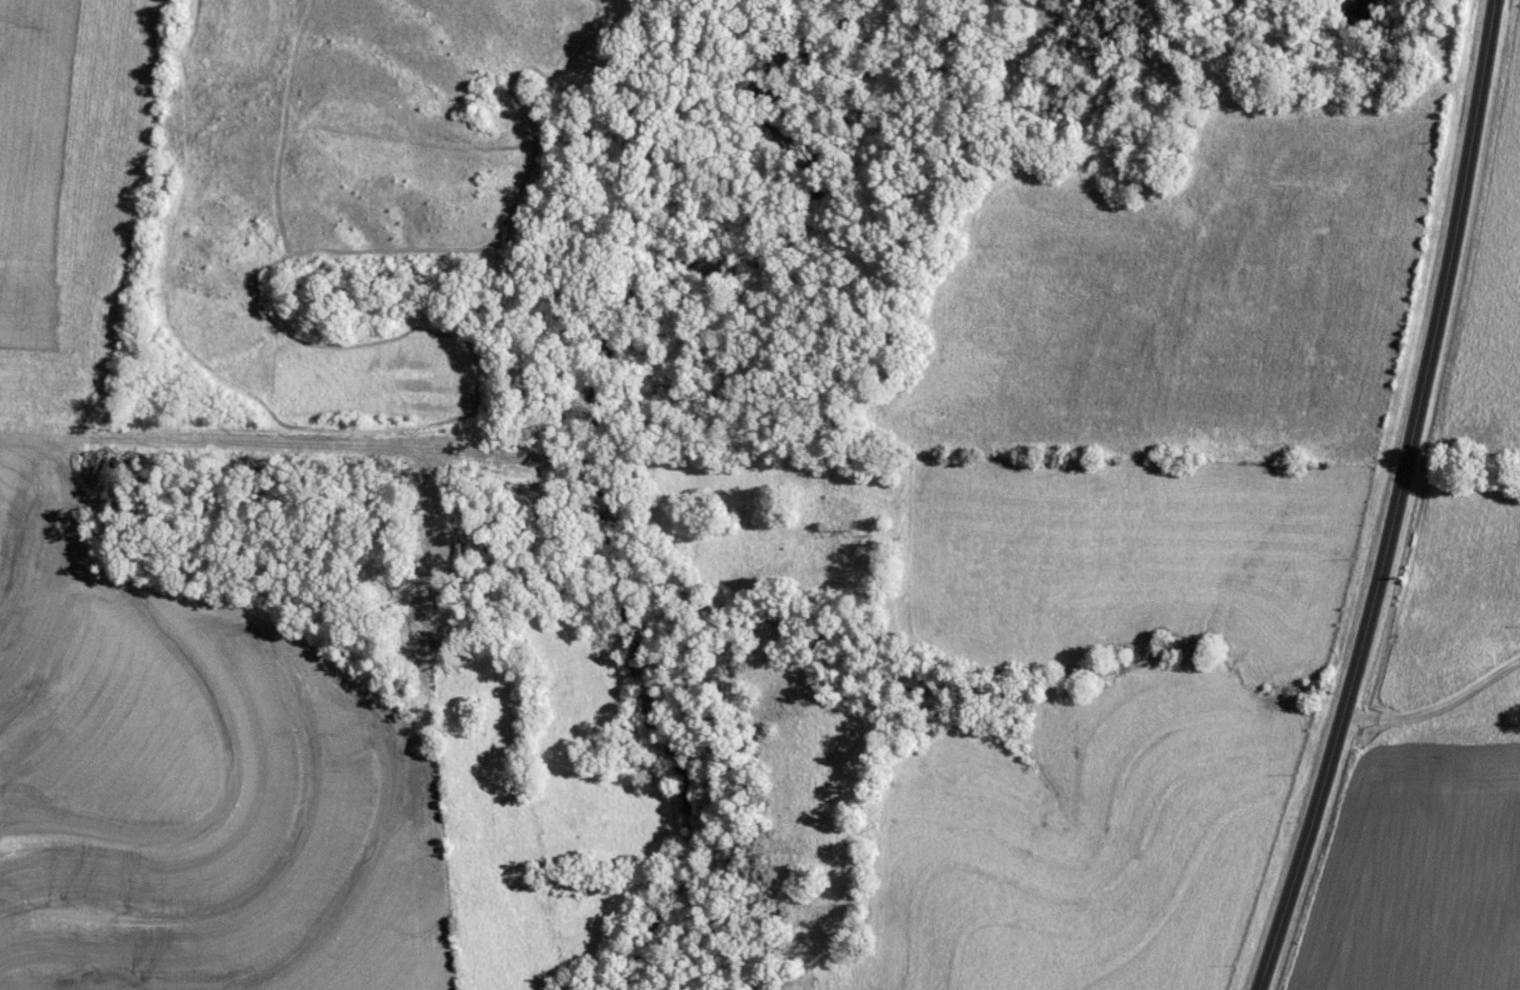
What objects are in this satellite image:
road: (1395, 500)
road: (1436, 709)

